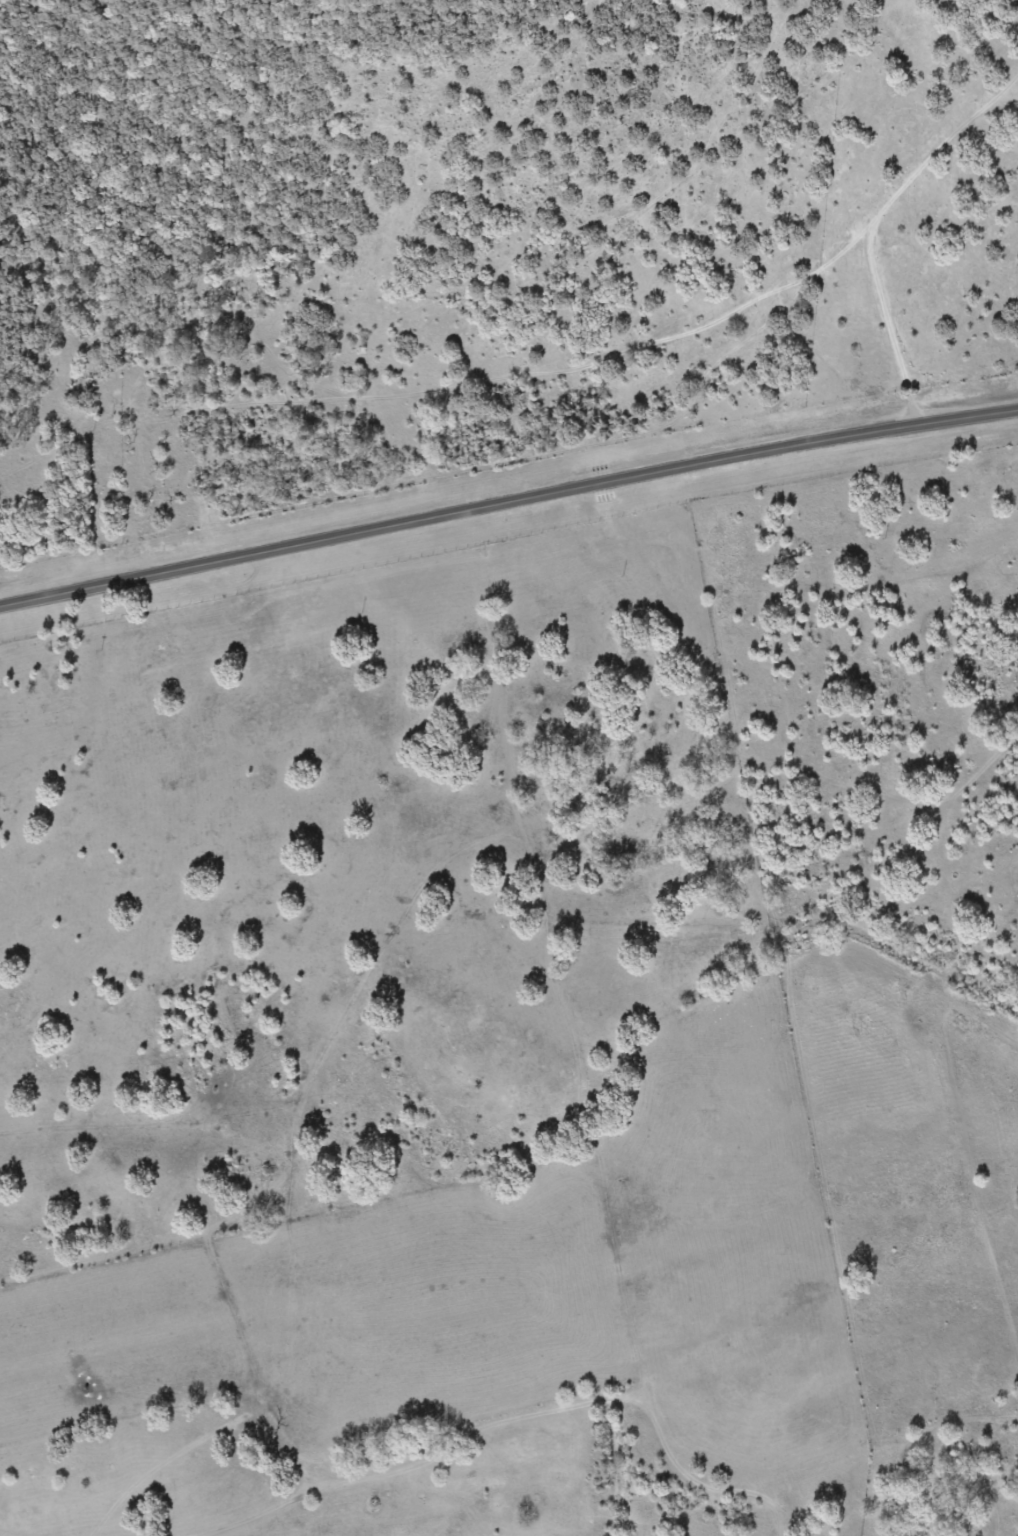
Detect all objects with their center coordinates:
road: (878, 224)
road: (508, 500)

